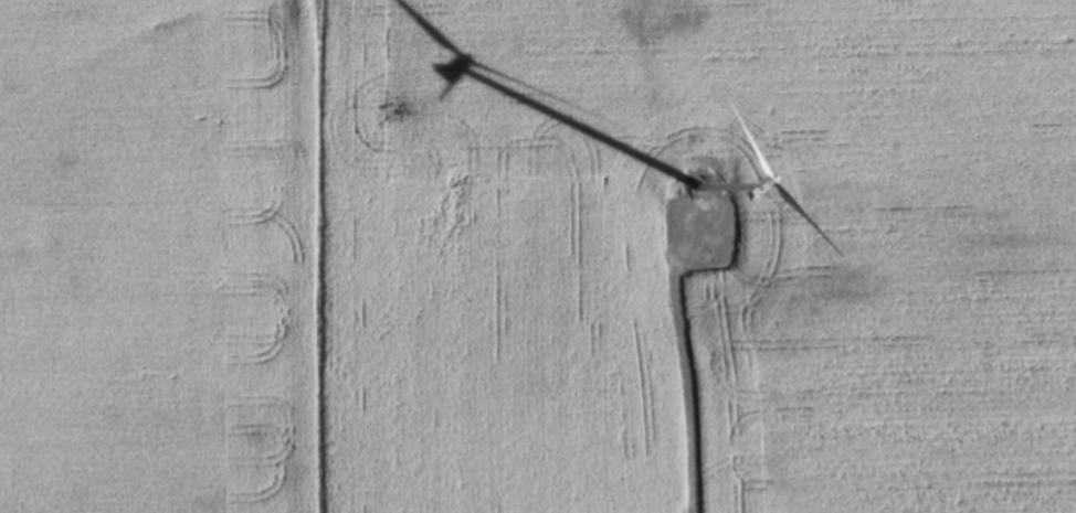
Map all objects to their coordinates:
wind turbine: (697, 193)
road: (678, 362)

